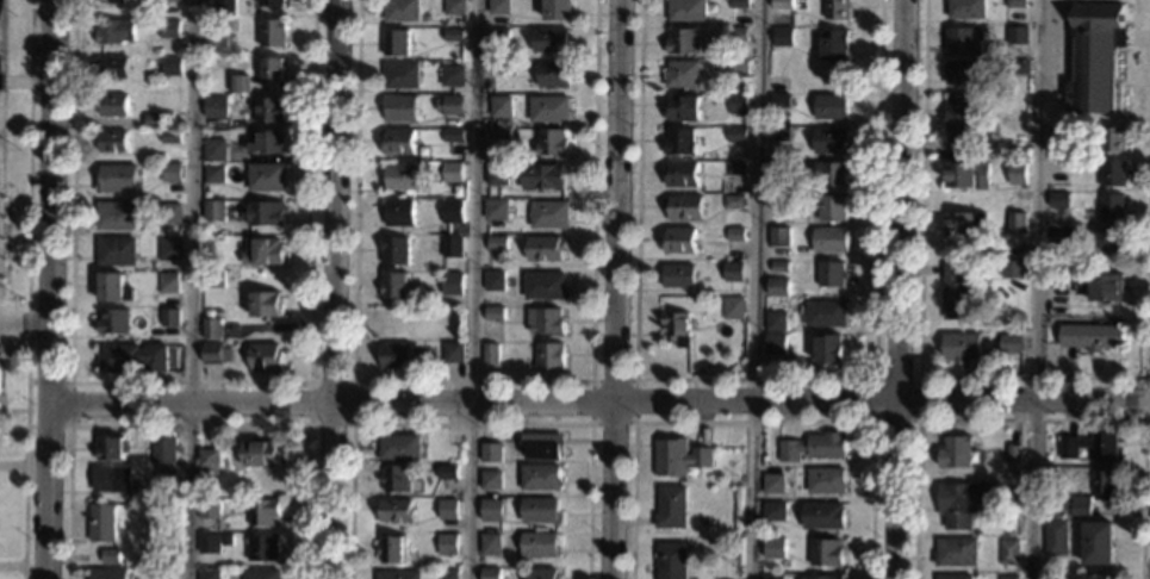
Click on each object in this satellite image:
building: (169, 0)
building: (275, 2)
building: (117, 4)
building: (736, 4)
building: (1014, 4)
building: (781, 5)
building: (225, 7)
building: (455, 7)
building: (499, 7)
building: (835, 8)
building: (559, 10)
building: (965, 10)
building: (402, 11)
building: (686, 11)
building: (169, 30)
building: (114, 31)
building: (273, 33)
building: (736, 33)
building: (453, 36)
building: (1015, 36)
building: (781, 37)
building: (499, 38)
building: (551, 41)
building: (962, 41)
building: (683, 42)
building: (396, 43)
building: (216, 44)
building: (833, 45)
building: (1094, 60)
building: (1, 66)
building: (112, 67)
building: (172, 67)
building: (1018, 67)
building: (736, 68)
building: (273, 69)
building: (499, 69)
building: (962, 73)
building: (400, 75)
building: (554, 75)
building: (683, 75)
building: (452, 76)
building: (237, 83)
building: (779, 100)
building: (736, 104)
building: (112, 105)
building: (450, 105)
building: (216, 107)
building: (501, 107)
building: (829, 107)
building: (399, 108)
building: (684, 108)
building: (268, 110)
building: (549, 110)
building: (154, 120)
building: (956, 123)
building: (735, 133)
building: (501, 135)
building: (778, 135)
building: (1057, 135)
building: (453, 136)
building: (170, 137)
building: (1111, 139)
building: (111, 141)
building: (829, 141)
building: (266, 142)
building: (552, 142)
building: (678, 142)
building: (398, 143)
building: (215, 150)
building: (734, 168)
building: (778, 170)
building: (170, 173)
building: (452, 173)
building: (1015, 173)
building: (1112, 173)
building: (213, 174)
building: (682, 174)
building: (827, 174)
building: (965, 175)
building: (496, 176)
building: (543, 176)
building: (266, 178)
building: (117, 179)
building: (402, 179)
building: (1056, 200)
building: (733, 201)
building: (778, 201)
building: (1109, 206)
building: (684, 207)
building: (831, 208)
building: (495, 210)
building: (213, 211)
building: (397, 212)
building: (450, 212)
building: (262, 213)
building: (168, 214)
building: (549, 214)
building: (116, 216)
building: (1015, 223)
building: (956, 225)
building: (1058, 231)
building: (735, 235)
building: (778, 237)
building: (679, 239)
building: (1109, 239)
building: (829, 241)
building: (496, 243)
building: (452, 247)
building: (545, 248)
building: (168, 249)
building: (116, 251)
building: (394, 251)
building: (262, 253)
building: (778, 267)
building: (1011, 268)
building: (734, 272)
building: (831, 274)
building: (678, 276)
building: (1056, 278)
building: (212, 279)
building: (493, 281)
building: (167, 284)
building: (450, 285)
building: (393, 286)
building: (545, 287)
building: (777, 287)
building: (1098, 287)
road: (189, 288)
road: (331, 288)
road: (26, 289)
road: (49, 289)
building: (112, 289)
road: (472, 289)
road: (616, 289)
road: (758, 289)
road: (895, 289)
road: (1037, 289)
building: (953, 294)
building: (266, 305)
building: (733, 307)
building: (495, 313)
building: (825, 313)
building: (168, 318)
building: (775, 320)
building: (111, 322)
building: (545, 322)
road: (24, 323)
building: (676, 328)
building: (210, 329)
building: (1089, 336)
building: (1009, 343)
building: (775, 344)
building: (959, 348)
building: (829, 350)
building: (215, 353)
building: (452, 353)
building: (490, 354)
building: (396, 355)
building: (549, 356)
building: (130, 359)
building: (266, 359)
road: (753, 379)
road: (1015, 379)
road: (470, 381)
road: (188, 382)
traffic signals: (1137, 397)
road: (1144, 398)
road: (598, 399)
building: (957, 400)
road: (69, 404)
road: (1031, 417)
road: (914, 418)
road: (633, 422)
road: (754, 422)
road: (349, 424)
road: (470, 424)
road: (187, 427)
building: (1089, 446)
building: (396, 447)
building: (542, 447)
building: (814, 447)
building: (108, 449)
building: (160, 452)
building: (490, 453)
building: (956, 453)
building: (259, 454)
building: (1012, 454)
building: (679, 457)
building: (209, 463)
road: (12, 465)
building: (447, 473)
building: (166, 475)
building: (540, 478)
building: (111, 479)
building: (394, 479)
building: (490, 480)
building: (826, 481)
building: (773, 484)
building: (1104, 485)
building: (963, 503)
building: (672, 508)
building: (447, 509)
building: (1080, 509)
building: (207, 510)
building: (396, 510)
building: (491, 510)
building: (261, 511)
building: (537, 511)
building: (775, 511)
building: (823, 516)
building: (101, 523)
building: (1055, 537)
building: (207, 543)
building: (1098, 543)
building: (489, 544)
building: (537, 544)
building: (446, 546)
building: (262, 547)
building: (775, 548)
building: (391, 549)
building: (1008, 552)
building: (826, 553)
building: (956, 553)
building: (110, 558)
building: (671, 560)
road: (11, 566)
building: (107, 573)
building: (490, 573)
building: (161, 574)
building: (207, 574)
building: (260, 574)
building: (397, 574)
building: (447, 574)
building: (542, 574)
building: (772, 577)
building: (953, 577)
building: (1098, 577)
building: (822, 578)
building: (1007, 578)

